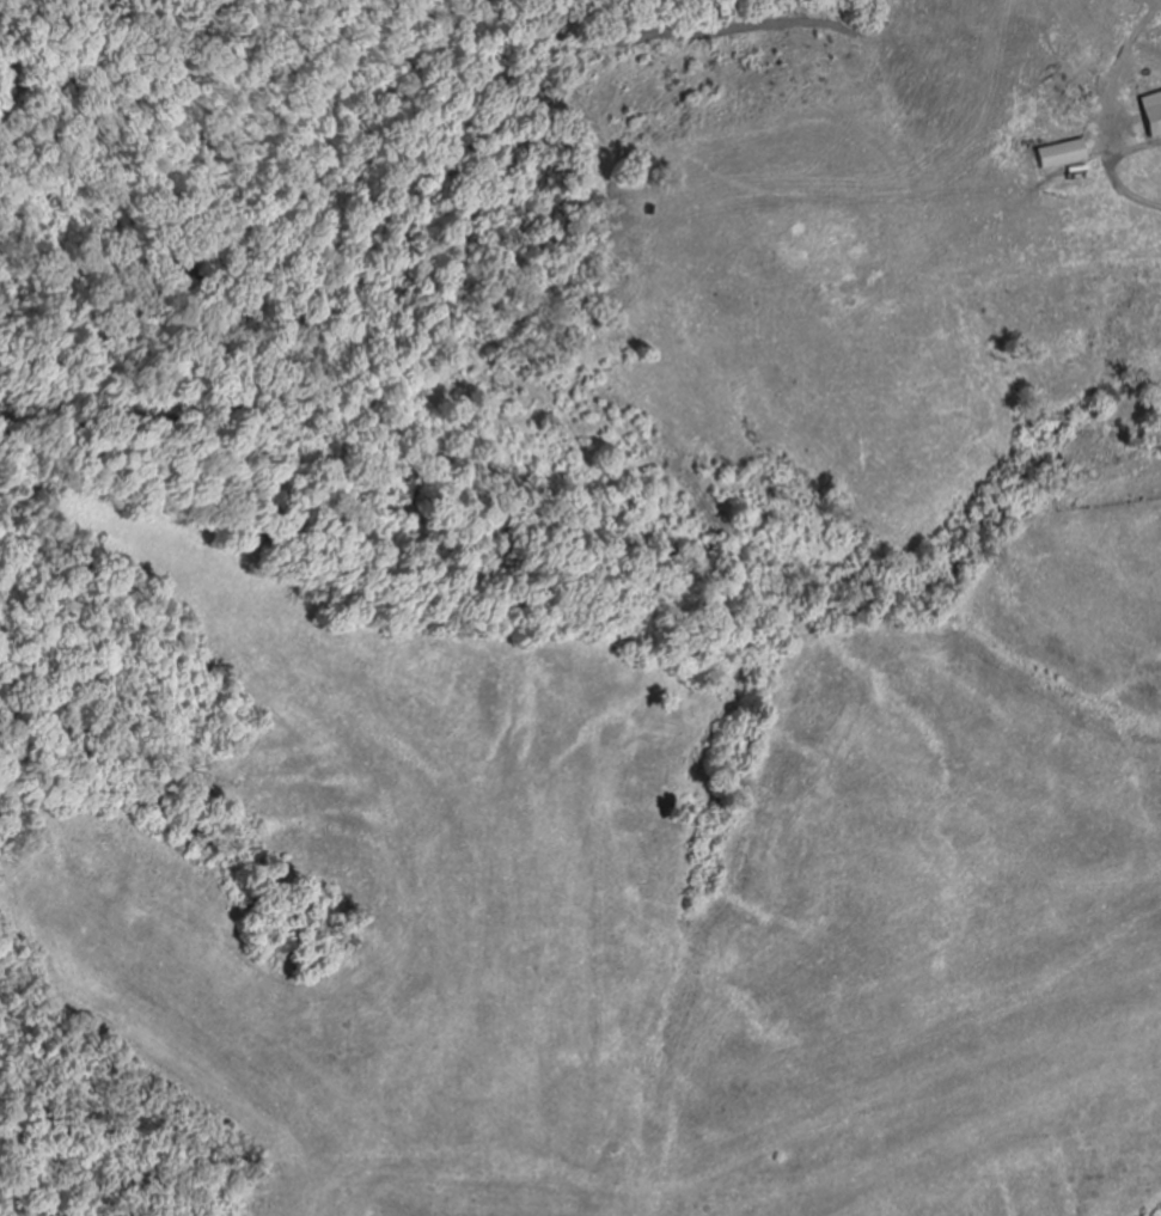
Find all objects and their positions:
building: (1154, 111)
building: (1067, 153)

